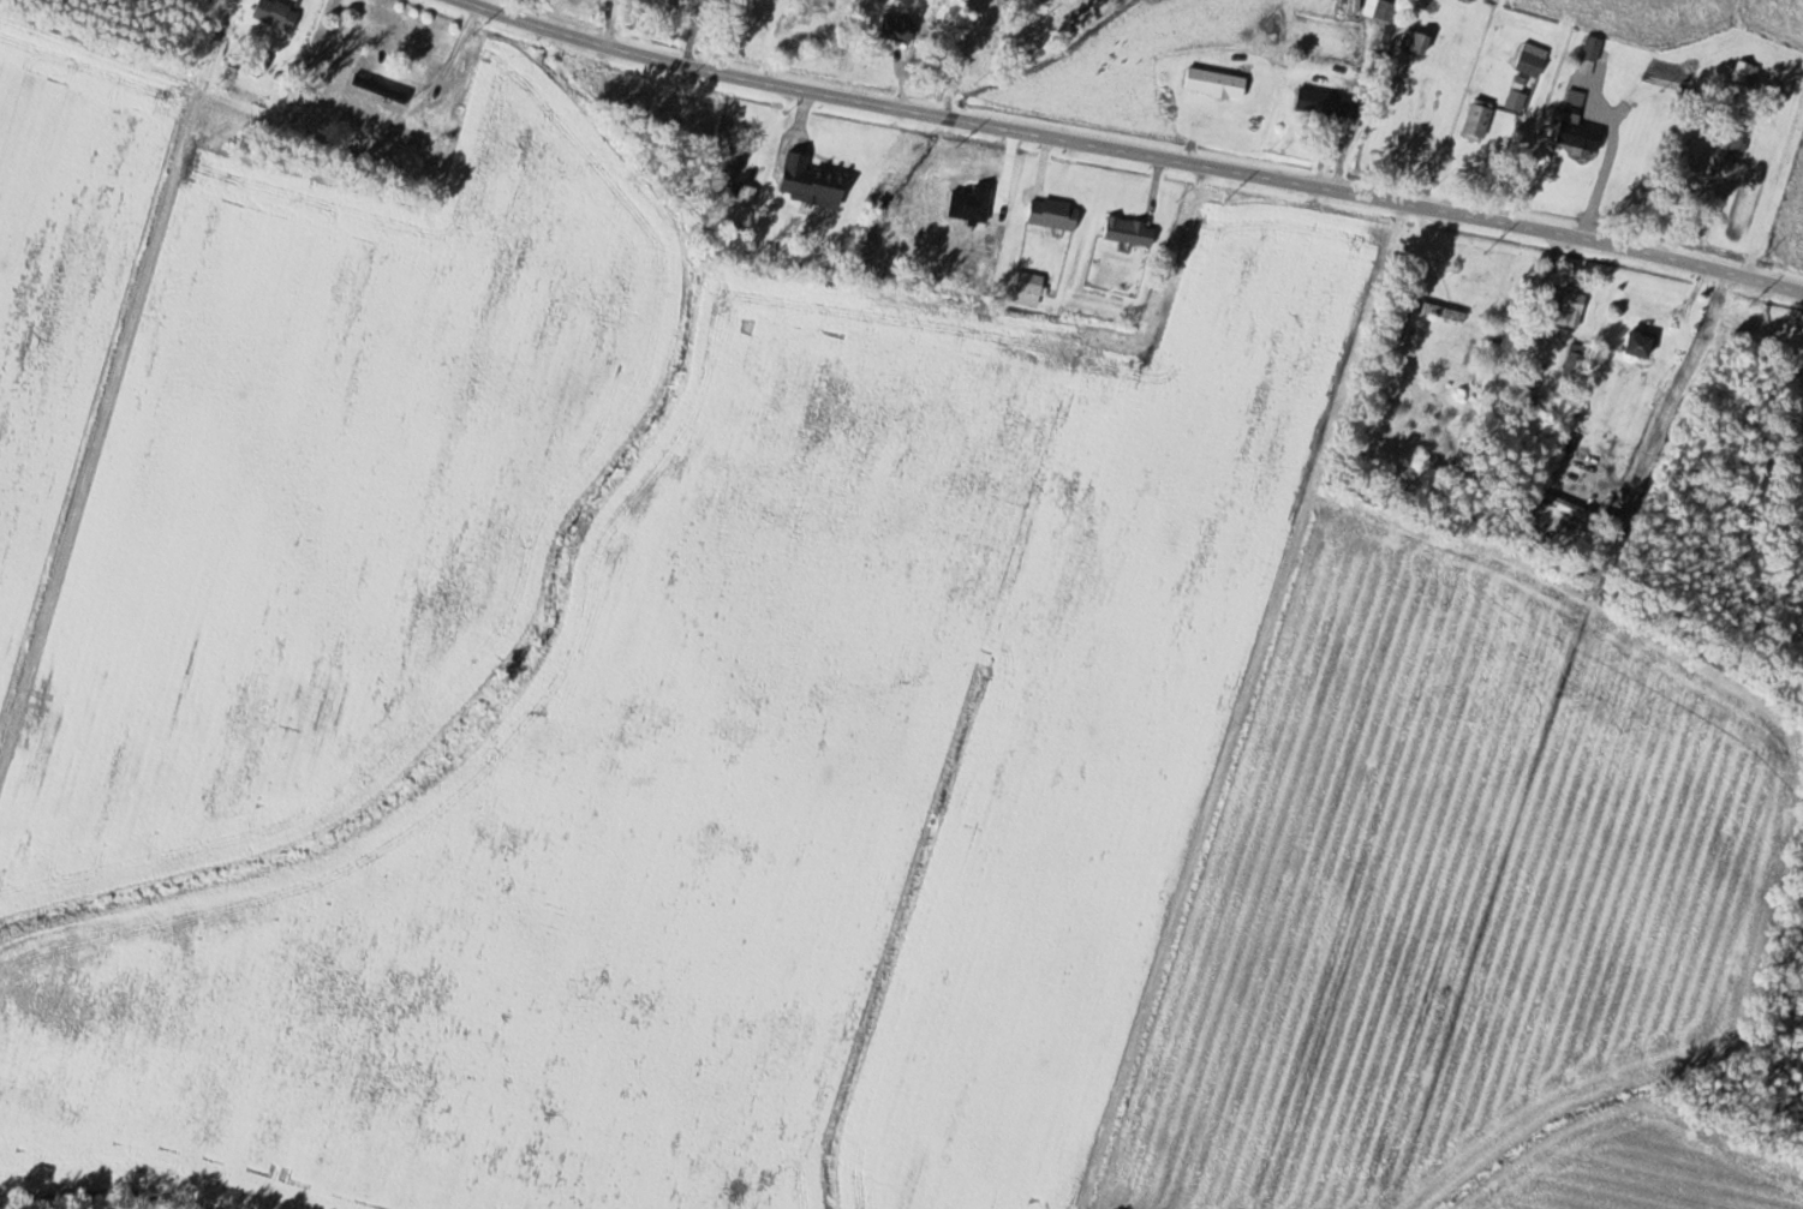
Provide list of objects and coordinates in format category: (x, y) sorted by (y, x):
building: (1386, 12)
building: (277, 14)
building: (1416, 41)
building: (1592, 55)
building: (1533, 59)
building: (1744, 72)
building: (383, 90)
building: (1520, 95)
building: (1331, 106)
building: (1479, 120)
building: (1742, 138)
building: (1581, 142)
road: (1132, 149)
building: (1696, 162)
building: (1055, 214)
building: (1130, 232)
building: (1570, 306)
building: (1401, 330)
building: (1641, 345)
building: (1534, 423)
building: (1796, 432)
building: (1564, 504)

